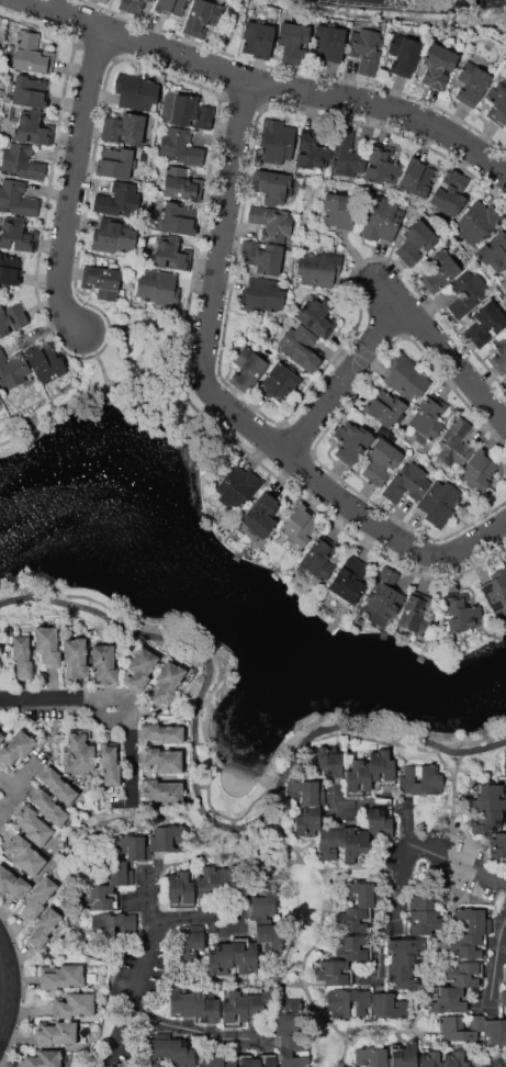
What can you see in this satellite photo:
building: (102, 1)
road: (413, 1)
building: (132, 5)
building: (171, 8)
building: (202, 16)
building: (258, 40)
building: (294, 43)
building: (329, 43)
building: (366, 49)
building: (31, 53)
building: (403, 54)
building: (439, 65)
road: (272, 83)
building: (472, 83)
building: (30, 91)
building: (135, 91)
building: (497, 105)
building: (190, 112)
building: (124, 127)
building: (33, 130)
building: (277, 141)
building: (181, 147)
building: (312, 150)
building: (347, 154)
building: (22, 162)
building: (115, 162)
building: (382, 165)
building: (144, 177)
building: (418, 177)
road: (78, 183)
building: (178, 183)
building: (274, 187)
building: (450, 192)
building: (16, 199)
building: (119, 200)
building: (340, 210)
building: (178, 218)
building: (382, 221)
building: (271, 222)
building: (476, 222)
building: (18, 235)
building: (115, 235)
building: (416, 242)
building: (494, 251)
building: (171, 254)
building: (262, 256)
building: (318, 269)
building: (440, 269)
building: (10, 270)
building: (504, 279)
building: (102, 282)
road: (216, 284)
building: (158, 289)
building: (468, 292)
building: (262, 295)
building: (317, 316)
building: (11, 318)
building: (486, 323)
building: (300, 348)
building: (499, 355)
road: (97, 357)
road: (441, 359)
building: (46, 362)
building: (247, 368)
building: (12, 369)
building: (407, 377)
building: (505, 379)
building: (278, 382)
road: (101, 385)
road: (342, 386)
building: (0, 396)
building: (384, 408)
building: (429, 417)
building: (351, 440)
building: (454, 445)
building: (382, 460)
building: (479, 470)
building: (459, 481)
building: (407, 483)
building: (238, 487)
building: (439, 502)
building: (261, 515)
building: (301, 526)
road: (392, 538)
building: (505, 553)
building: (317, 559)
building: (505, 561)
building: (347, 582)
building: (384, 593)
building: (496, 595)
building: (462, 613)
building: (415, 614)
building: (47, 645)
building: (0, 651)
building: (22, 656)
building: (77, 656)
building: (104, 664)
building: (0, 665)
building: (139, 667)
building: (167, 683)
road: (110, 698)
building: (161, 733)
building: (1, 737)
building: (15, 749)
building: (81, 752)
building: (160, 760)
building: (329, 761)
building: (110, 765)
building: (383, 766)
building: (359, 777)
building: (505, 777)
building: (420, 779)
building: (57, 785)
building: (160, 790)
building: (306, 791)
road: (387, 801)
road: (198, 804)
road: (5, 805)
building: (487, 805)
building: (49, 808)
building: (307, 820)
building: (380, 820)
building: (33, 825)
road: (93, 831)
building: (149, 842)
building: (329, 843)
building: (355, 843)
building: (498, 845)
building: (25, 855)
road: (180, 861)
road: (458, 866)
road: (362, 868)
building: (13, 884)
building: (220, 885)
building: (106, 888)
building: (181, 889)
building: (362, 895)
building: (38, 897)
building: (420, 900)
building: (263, 905)
road: (387, 910)
building: (353, 920)
building: (474, 920)
road: (194, 921)
building: (423, 922)
building: (44, 928)
building: (103, 929)
road: (315, 933)
building: (268, 934)
building: (190, 942)
building: (468, 946)
building: (353, 947)
building: (404, 951)
building: (232, 957)
road: (494, 958)
road: (143, 969)
building: (334, 973)
building: (464, 974)
building: (404, 975)
building: (63, 978)
road: (13, 988)
building: (194, 1000)
building: (449, 1000)
building: (504, 1002)
building: (350, 1003)
building: (74, 1004)
building: (390, 1006)
building: (245, 1007)
building: (289, 1017)
building: (461, 1026)
road: (185, 1029)
building: (495, 1031)
building: (56, 1034)
building: (294, 1051)
building: (171, 1052)
building: (404, 1055)
building: (373, 1057)
building: (43, 1058)
building: (456, 1058)
building: (431, 1059)
building: (240, 1060)
building: (265, 1060)
building: (211, 1062)

